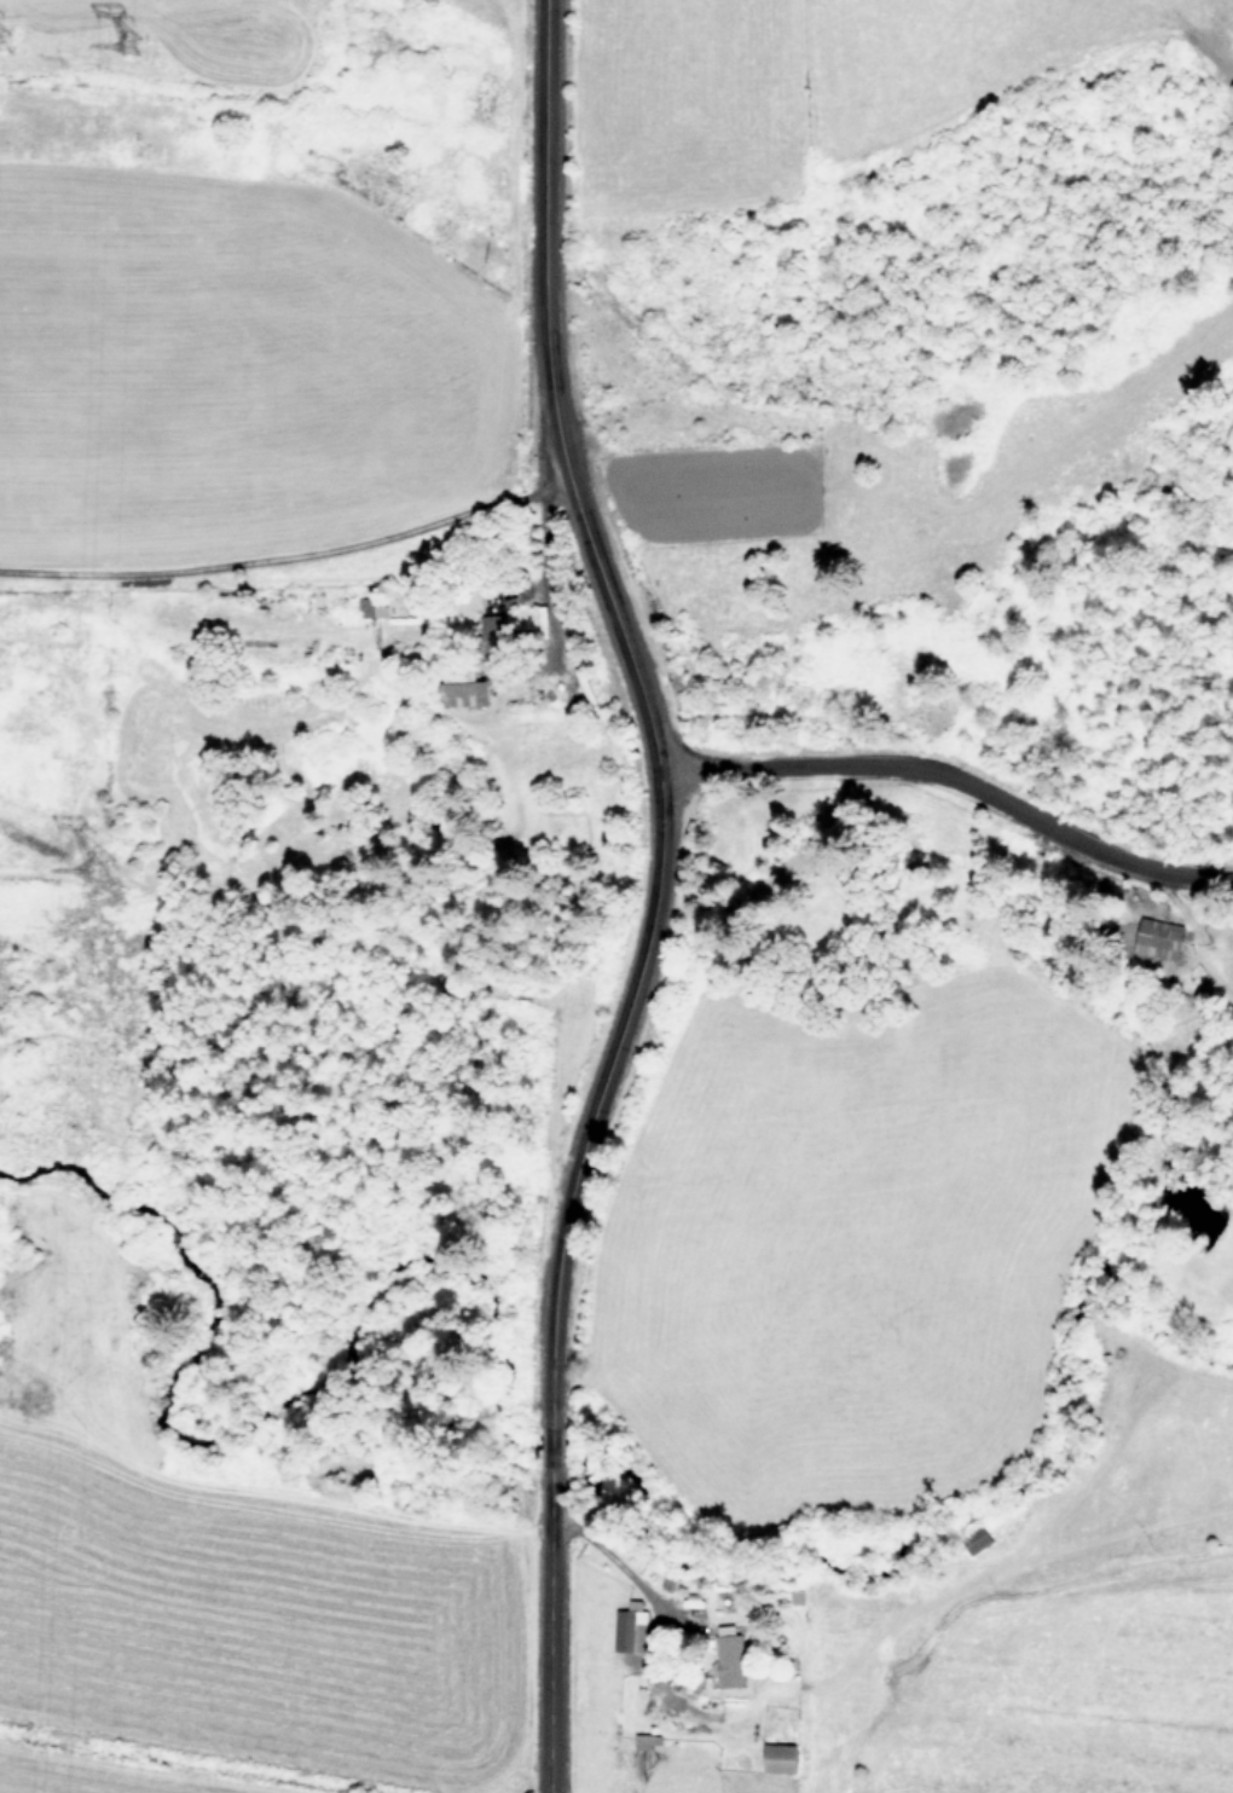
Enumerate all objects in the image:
power tower: (7, 54)
power tower: (141, 64)
road: (560, 382)
road: (294, 556)
building: (374, 606)
building: (497, 629)
building: (467, 692)
road: (960, 785)
power tower: (114, 867)
building: (1159, 933)
road: (563, 1262)
crop: (241, 1627)
building: (631, 1631)
crop: (915, 1649)
building: (731, 1655)
building: (647, 1739)
building: (780, 1756)

